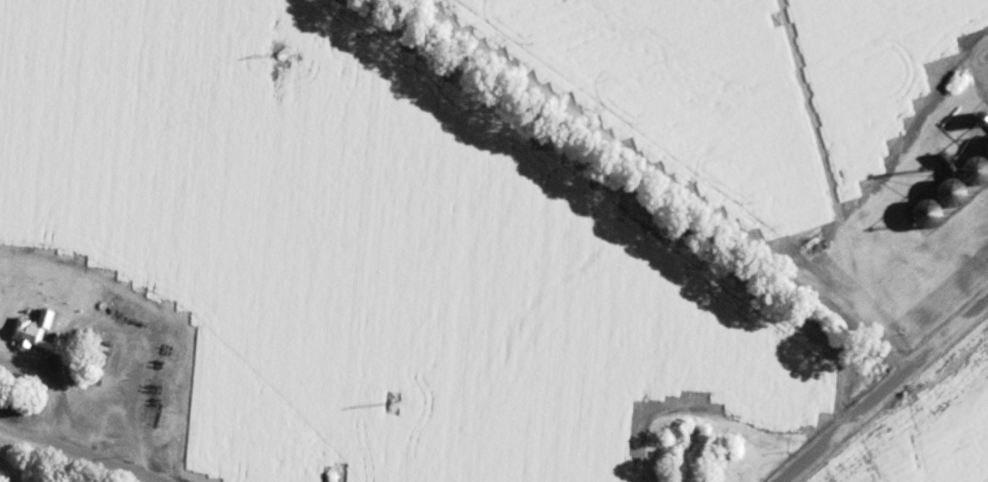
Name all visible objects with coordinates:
power tower: (279, 51)
road: (638, 166)
building: (969, 171)
road: (828, 192)
building: (947, 195)
building: (924, 219)
building: (54, 317)
road: (949, 331)
road: (44, 385)
power tower: (392, 402)
road: (842, 422)
road: (79, 453)
building: (309, 455)
building: (704, 479)

